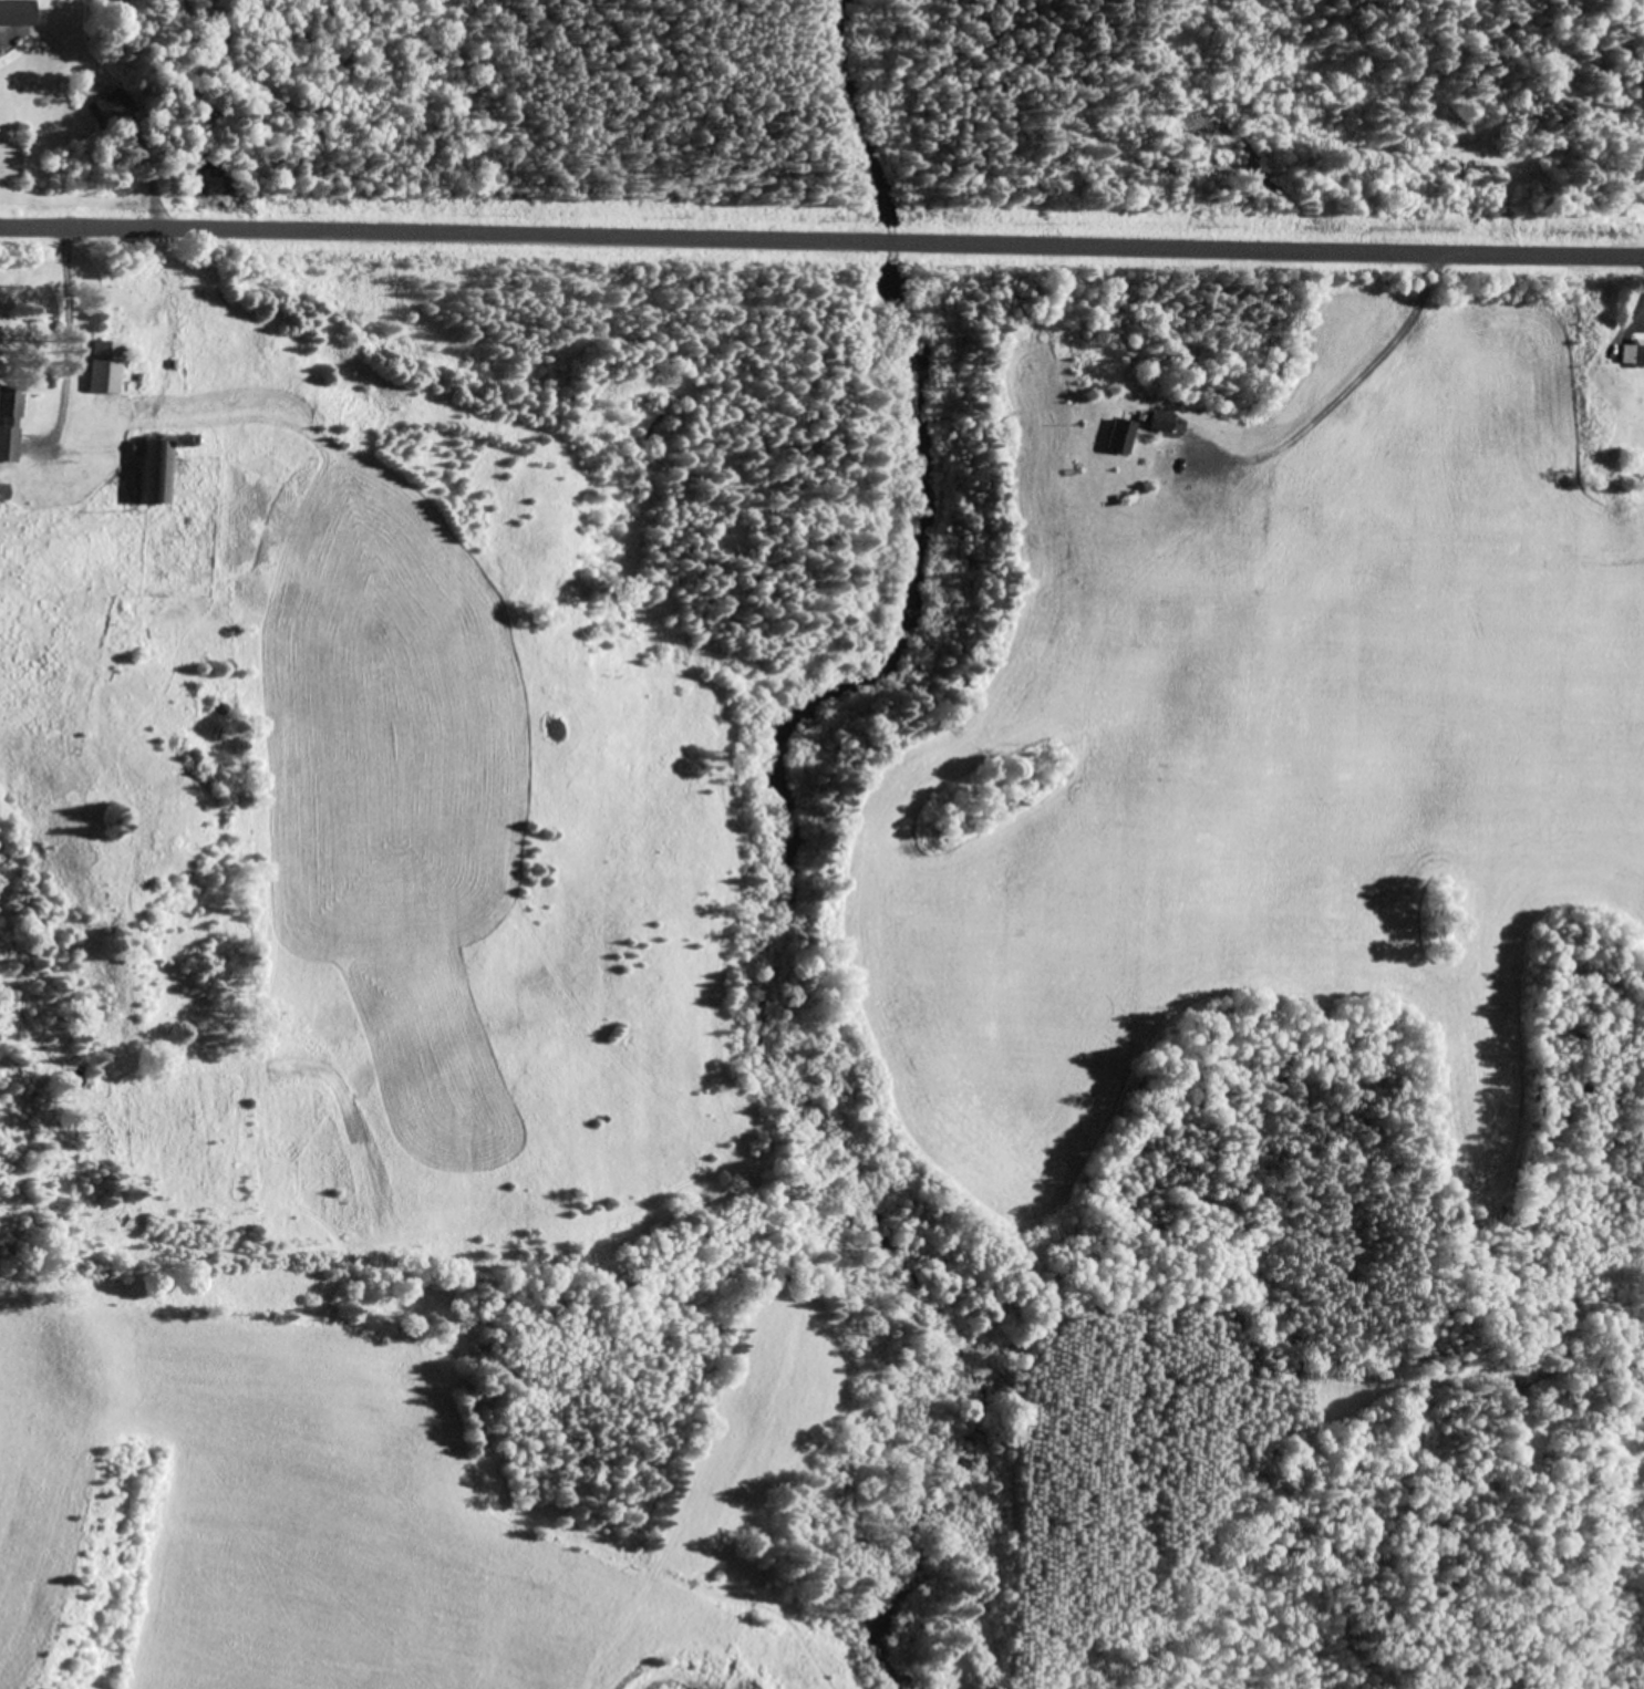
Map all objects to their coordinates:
building: (15, 11)
building: (111, 104)
road: (821, 242)
building: (1633, 352)
building: (106, 365)
building: (1160, 418)
building: (10, 423)
building: (1121, 436)
building: (157, 469)
building: (4, 490)

